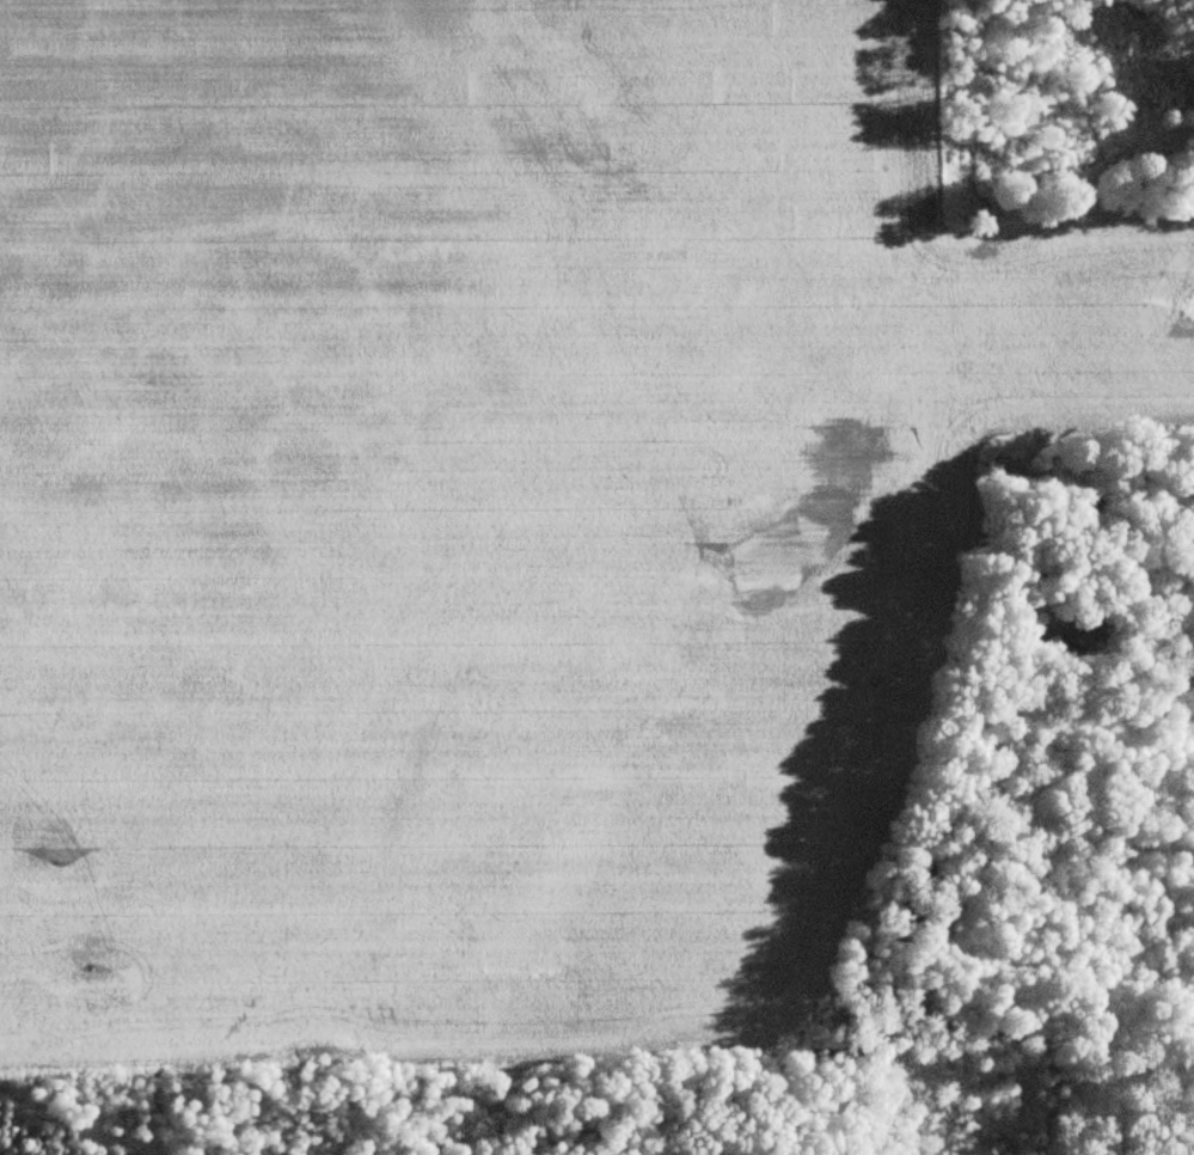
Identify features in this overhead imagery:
crop: (489, 514)

